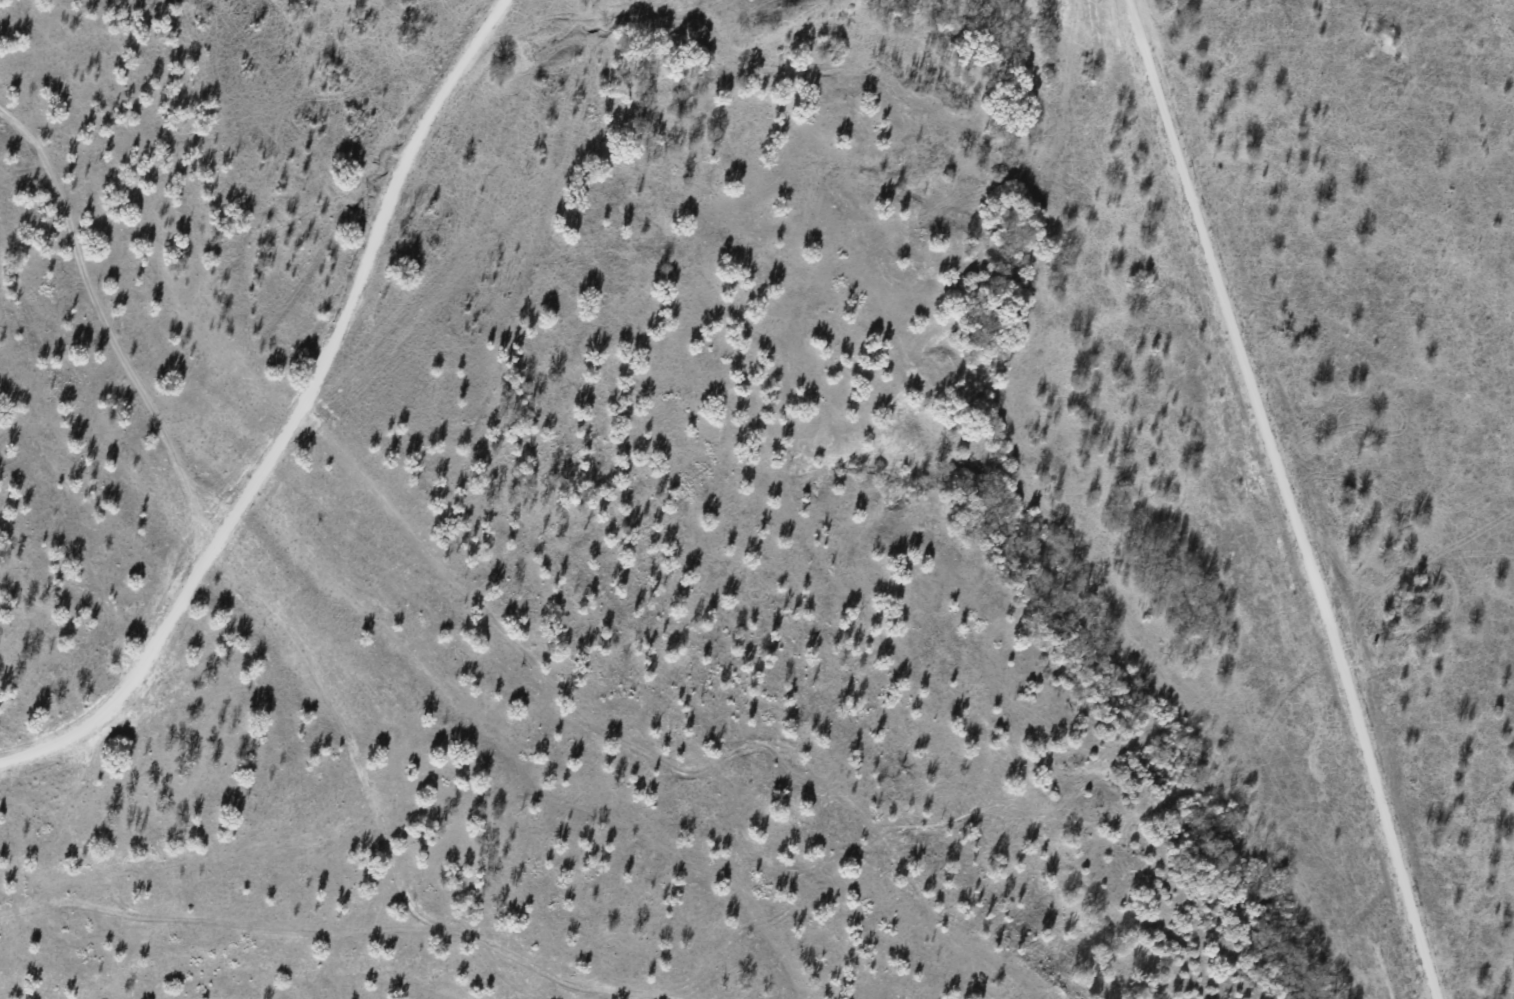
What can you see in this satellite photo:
road: (293, 418)
road: (1292, 498)

